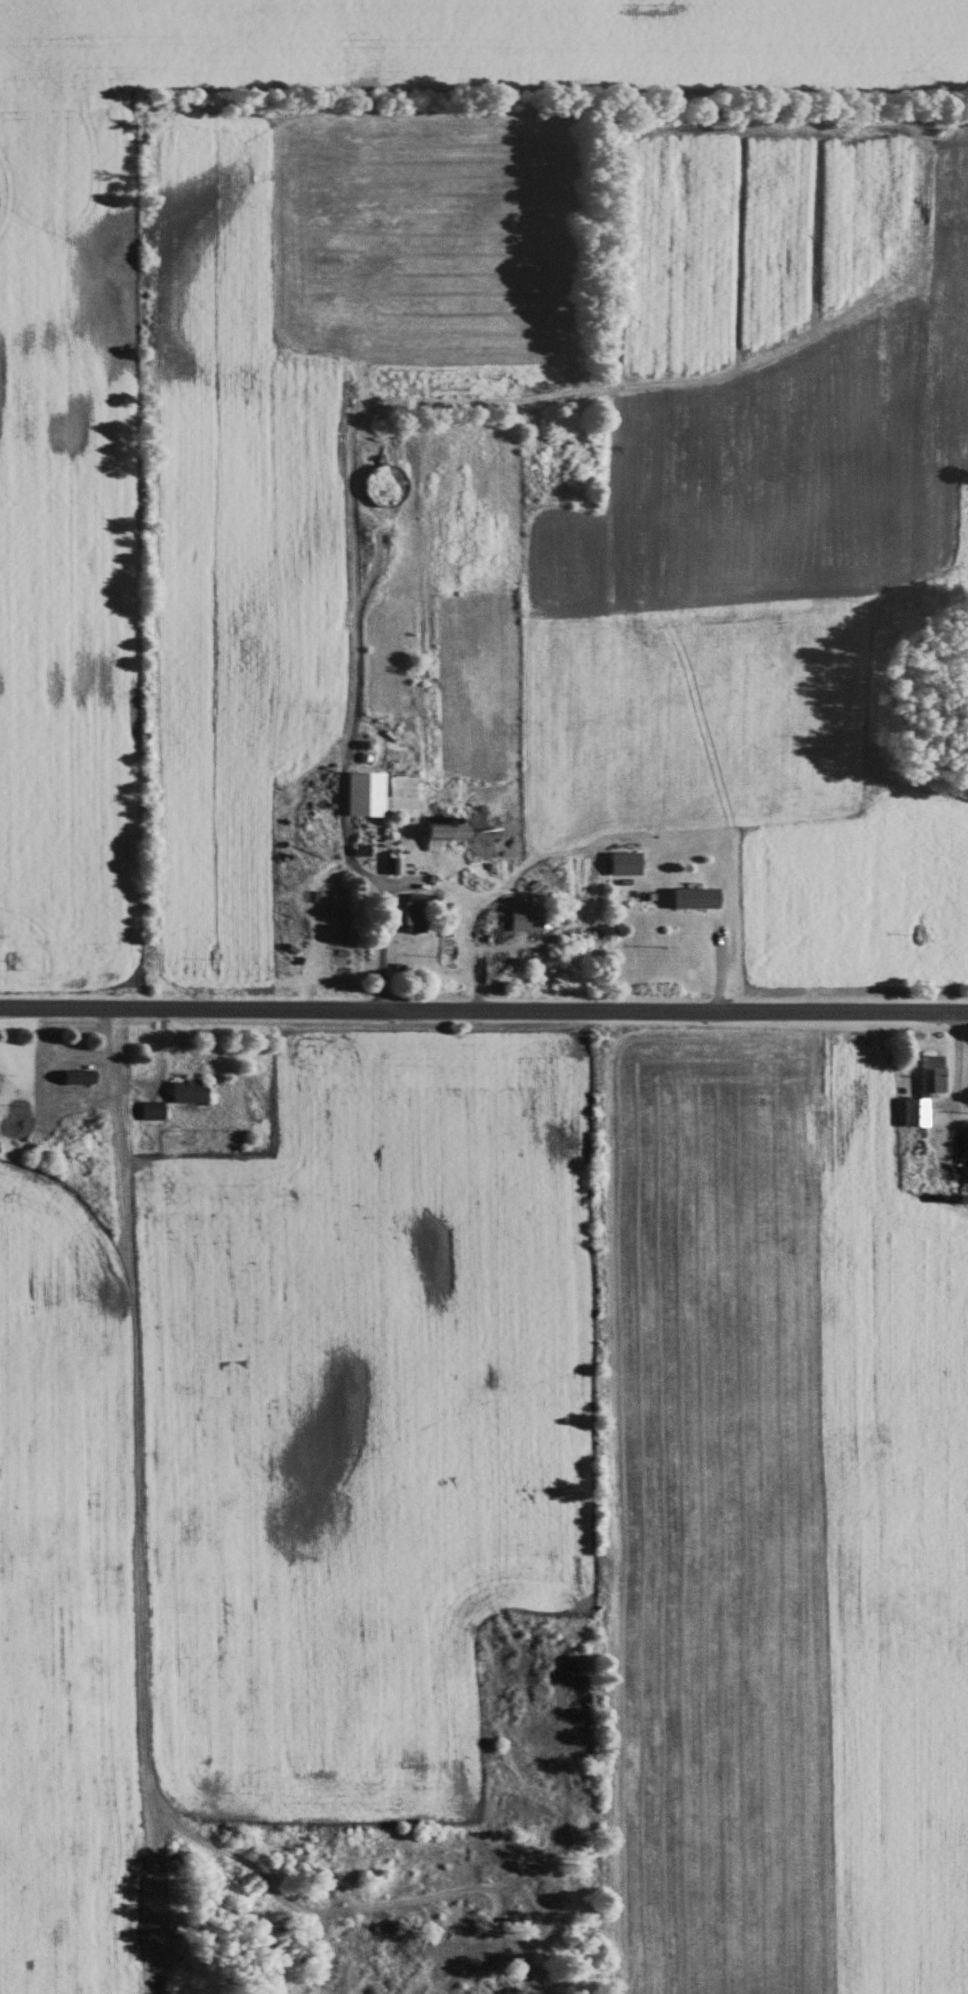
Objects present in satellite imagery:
building: (380, 797)
building: (442, 836)
building: (640, 899)
building: (692, 900)
road: (382, 910)
building: (407, 916)
building: (527, 918)
road: (719, 961)
road: (484, 1013)
road: (954, 1058)
building: (930, 1077)
building: (75, 1079)
building: (186, 1093)
building: (150, 1112)
building: (912, 1115)
building: (958, 1163)

